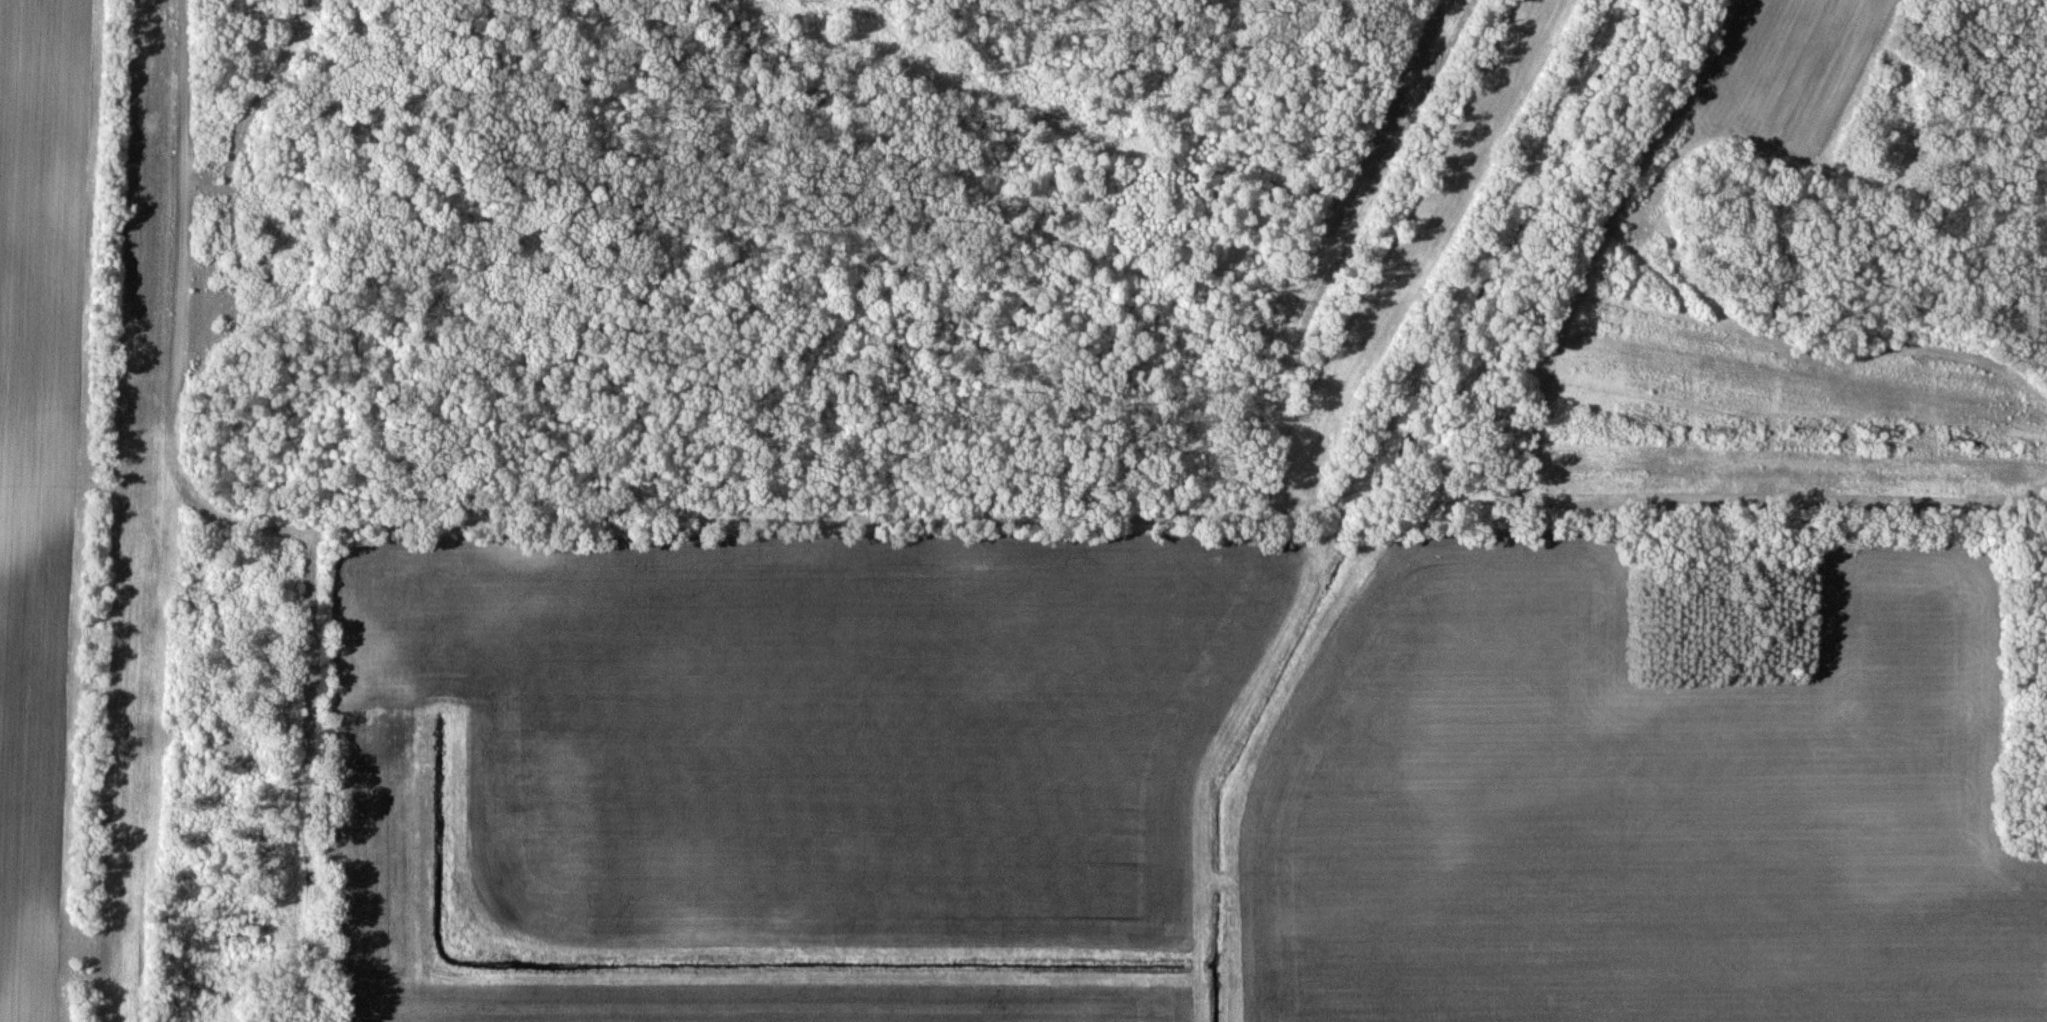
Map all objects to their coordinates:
road: (472, 2)

